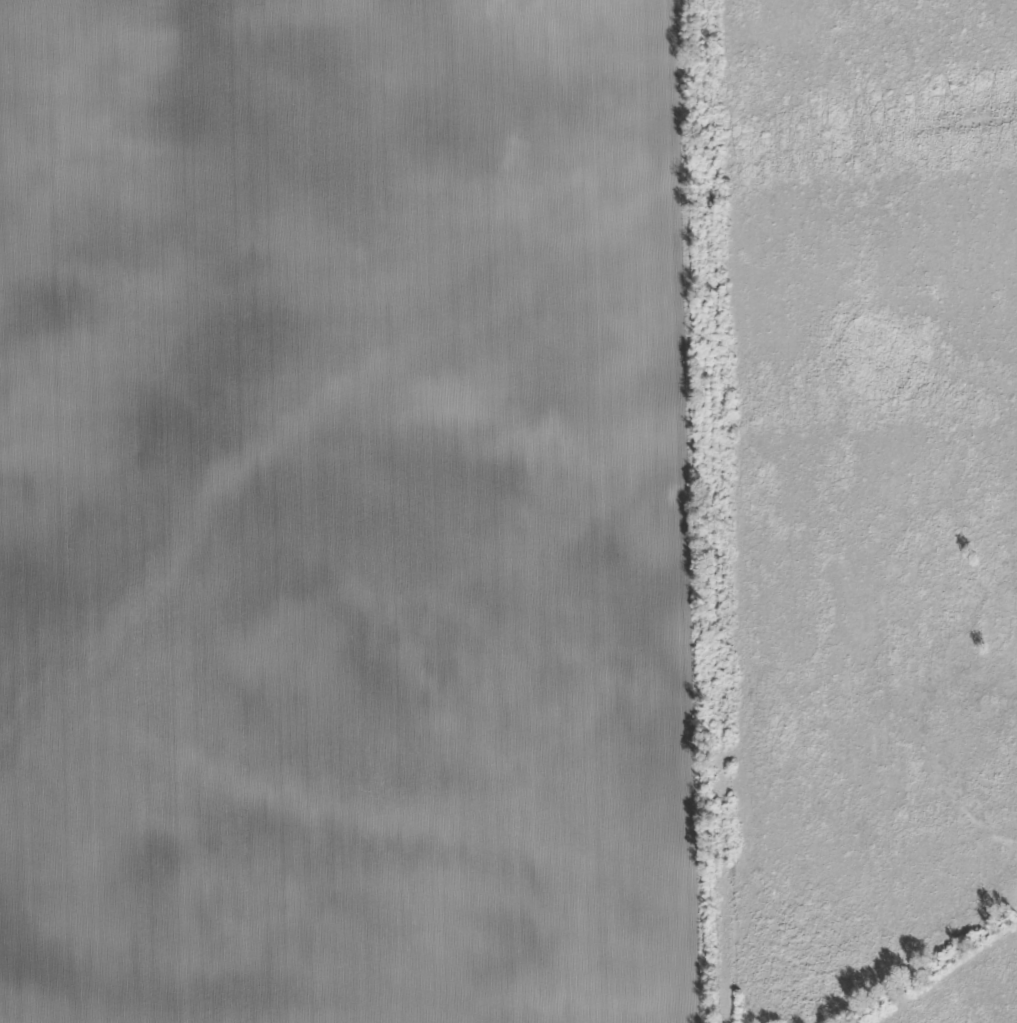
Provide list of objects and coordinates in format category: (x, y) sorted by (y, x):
road: (696, 511)

